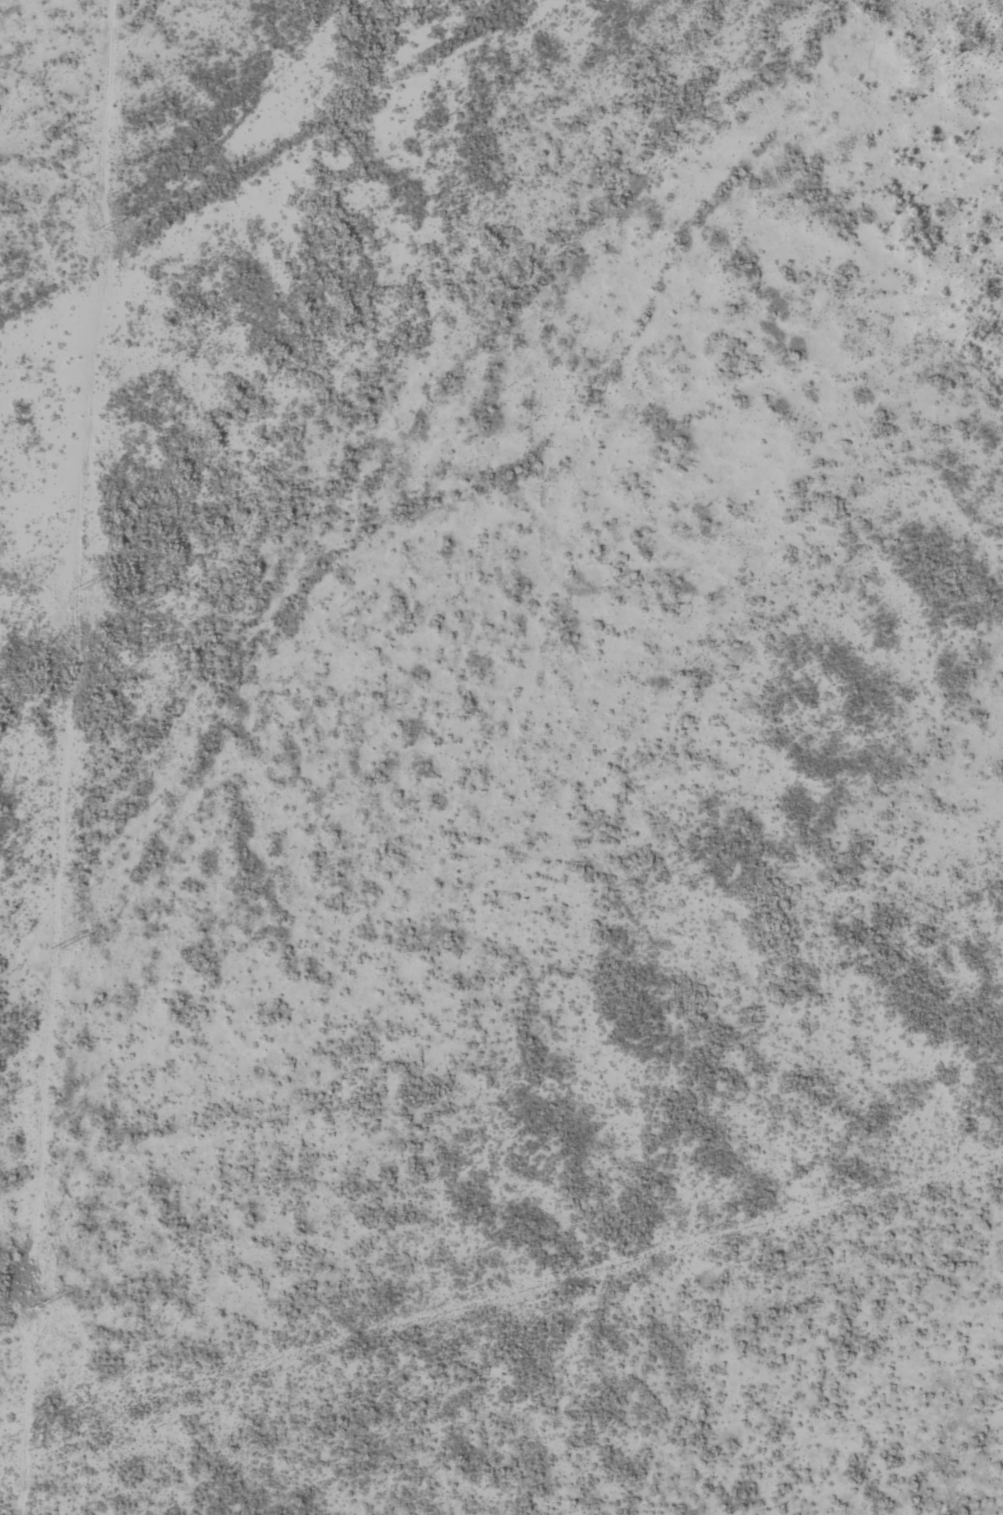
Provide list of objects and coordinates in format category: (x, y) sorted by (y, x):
power tower: (97, 232)
road: (399, 510)
power tower: (76, 591)
power tower: (55, 950)
power tower: (32, 1309)

